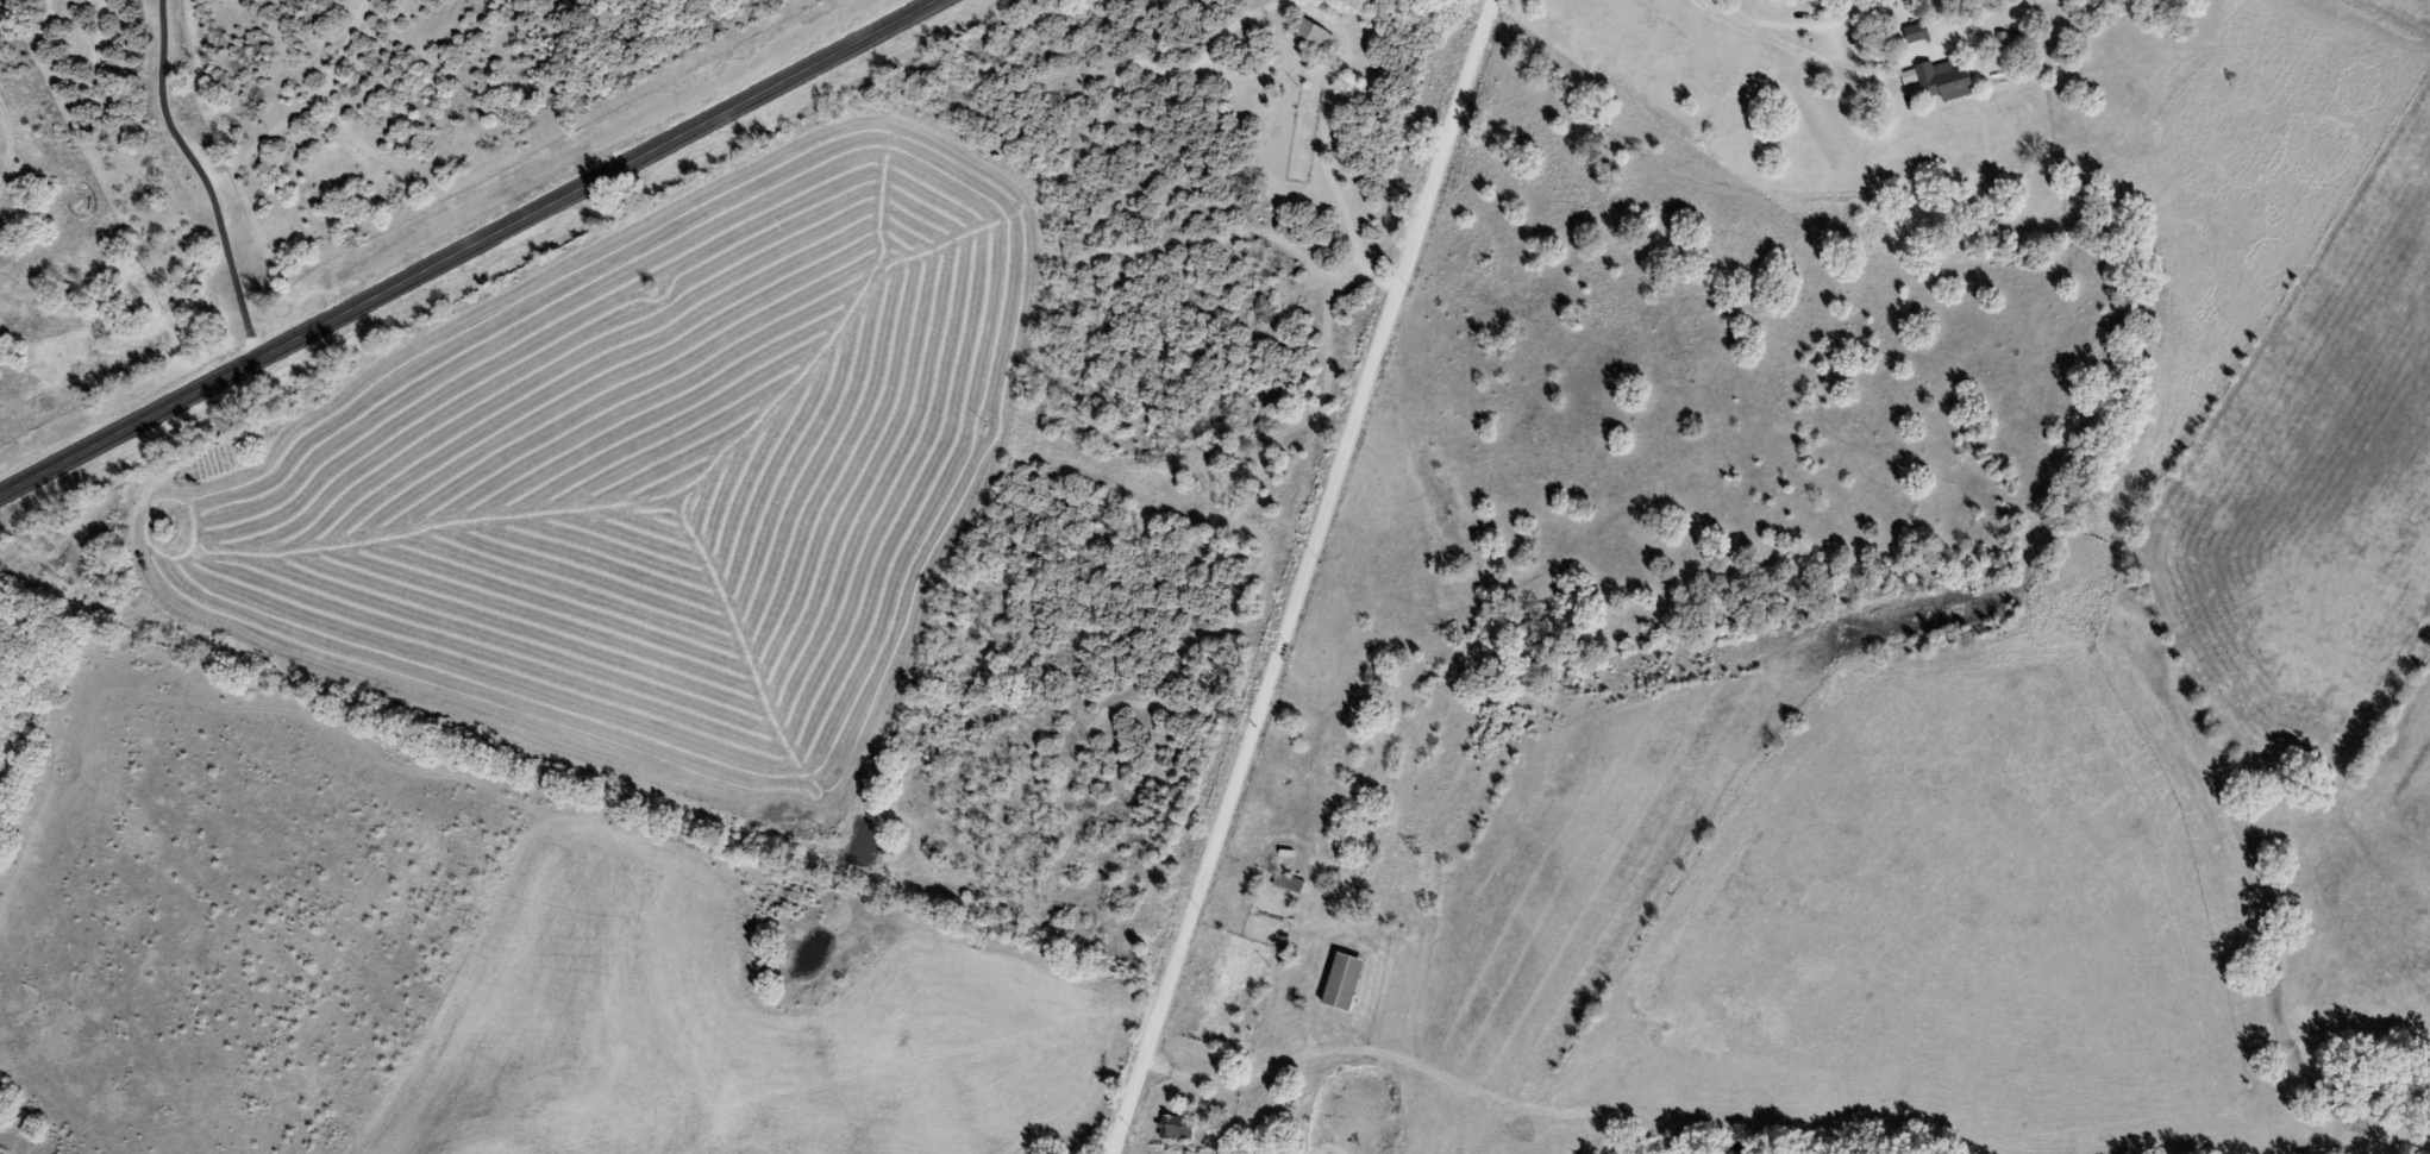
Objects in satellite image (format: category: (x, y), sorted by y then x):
building: (1918, 35)
building: (1316, 37)
building: (1946, 83)
road: (468, 245)
road: (1311, 577)
building: (1291, 884)
building: (1180, 1125)

